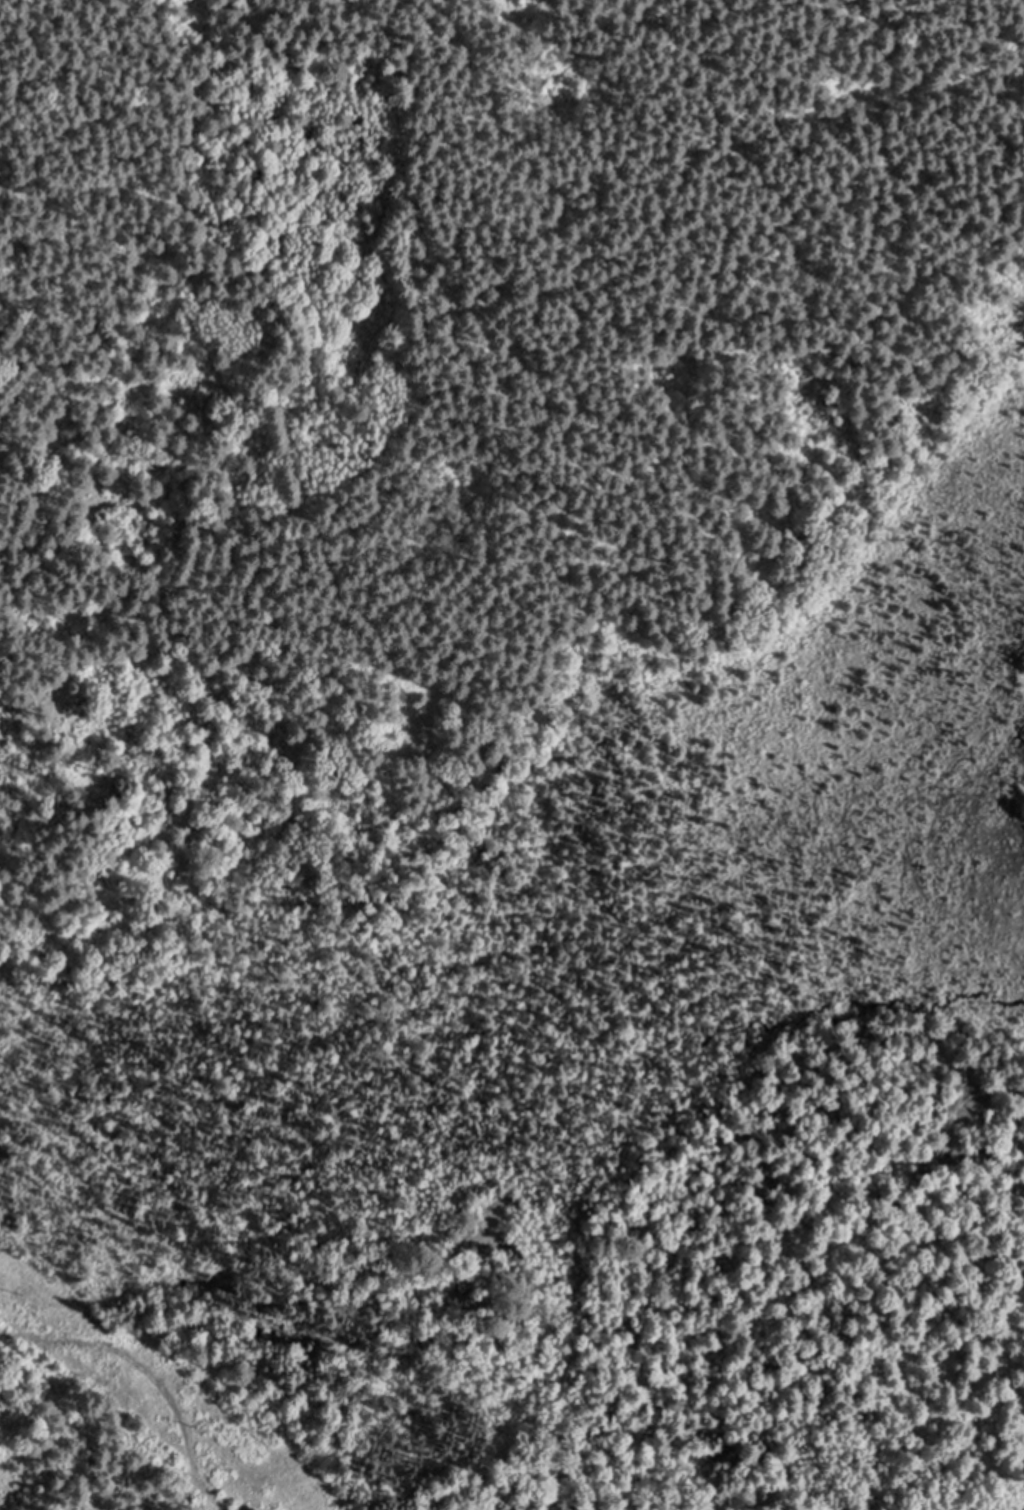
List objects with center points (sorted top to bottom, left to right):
power tower: (19, 1294)
road: (163, 1389)
power tower: (199, 1424)

